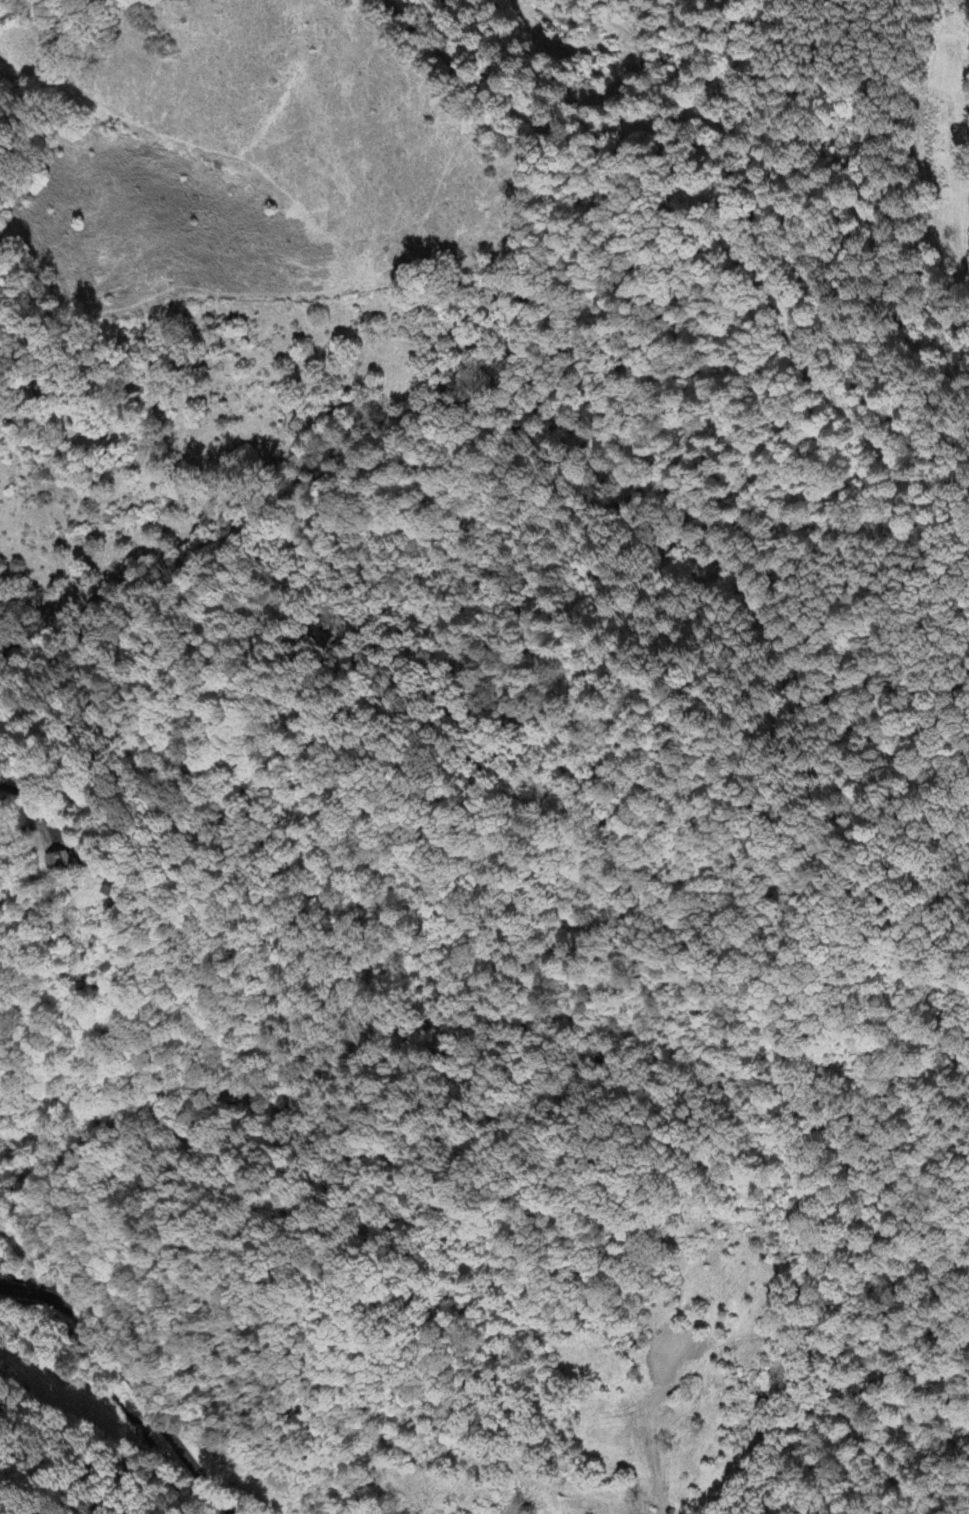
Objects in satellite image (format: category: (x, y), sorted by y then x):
building: (51, 859)
road: (2, 1286)
road: (24, 1290)
road: (145, 1395)

